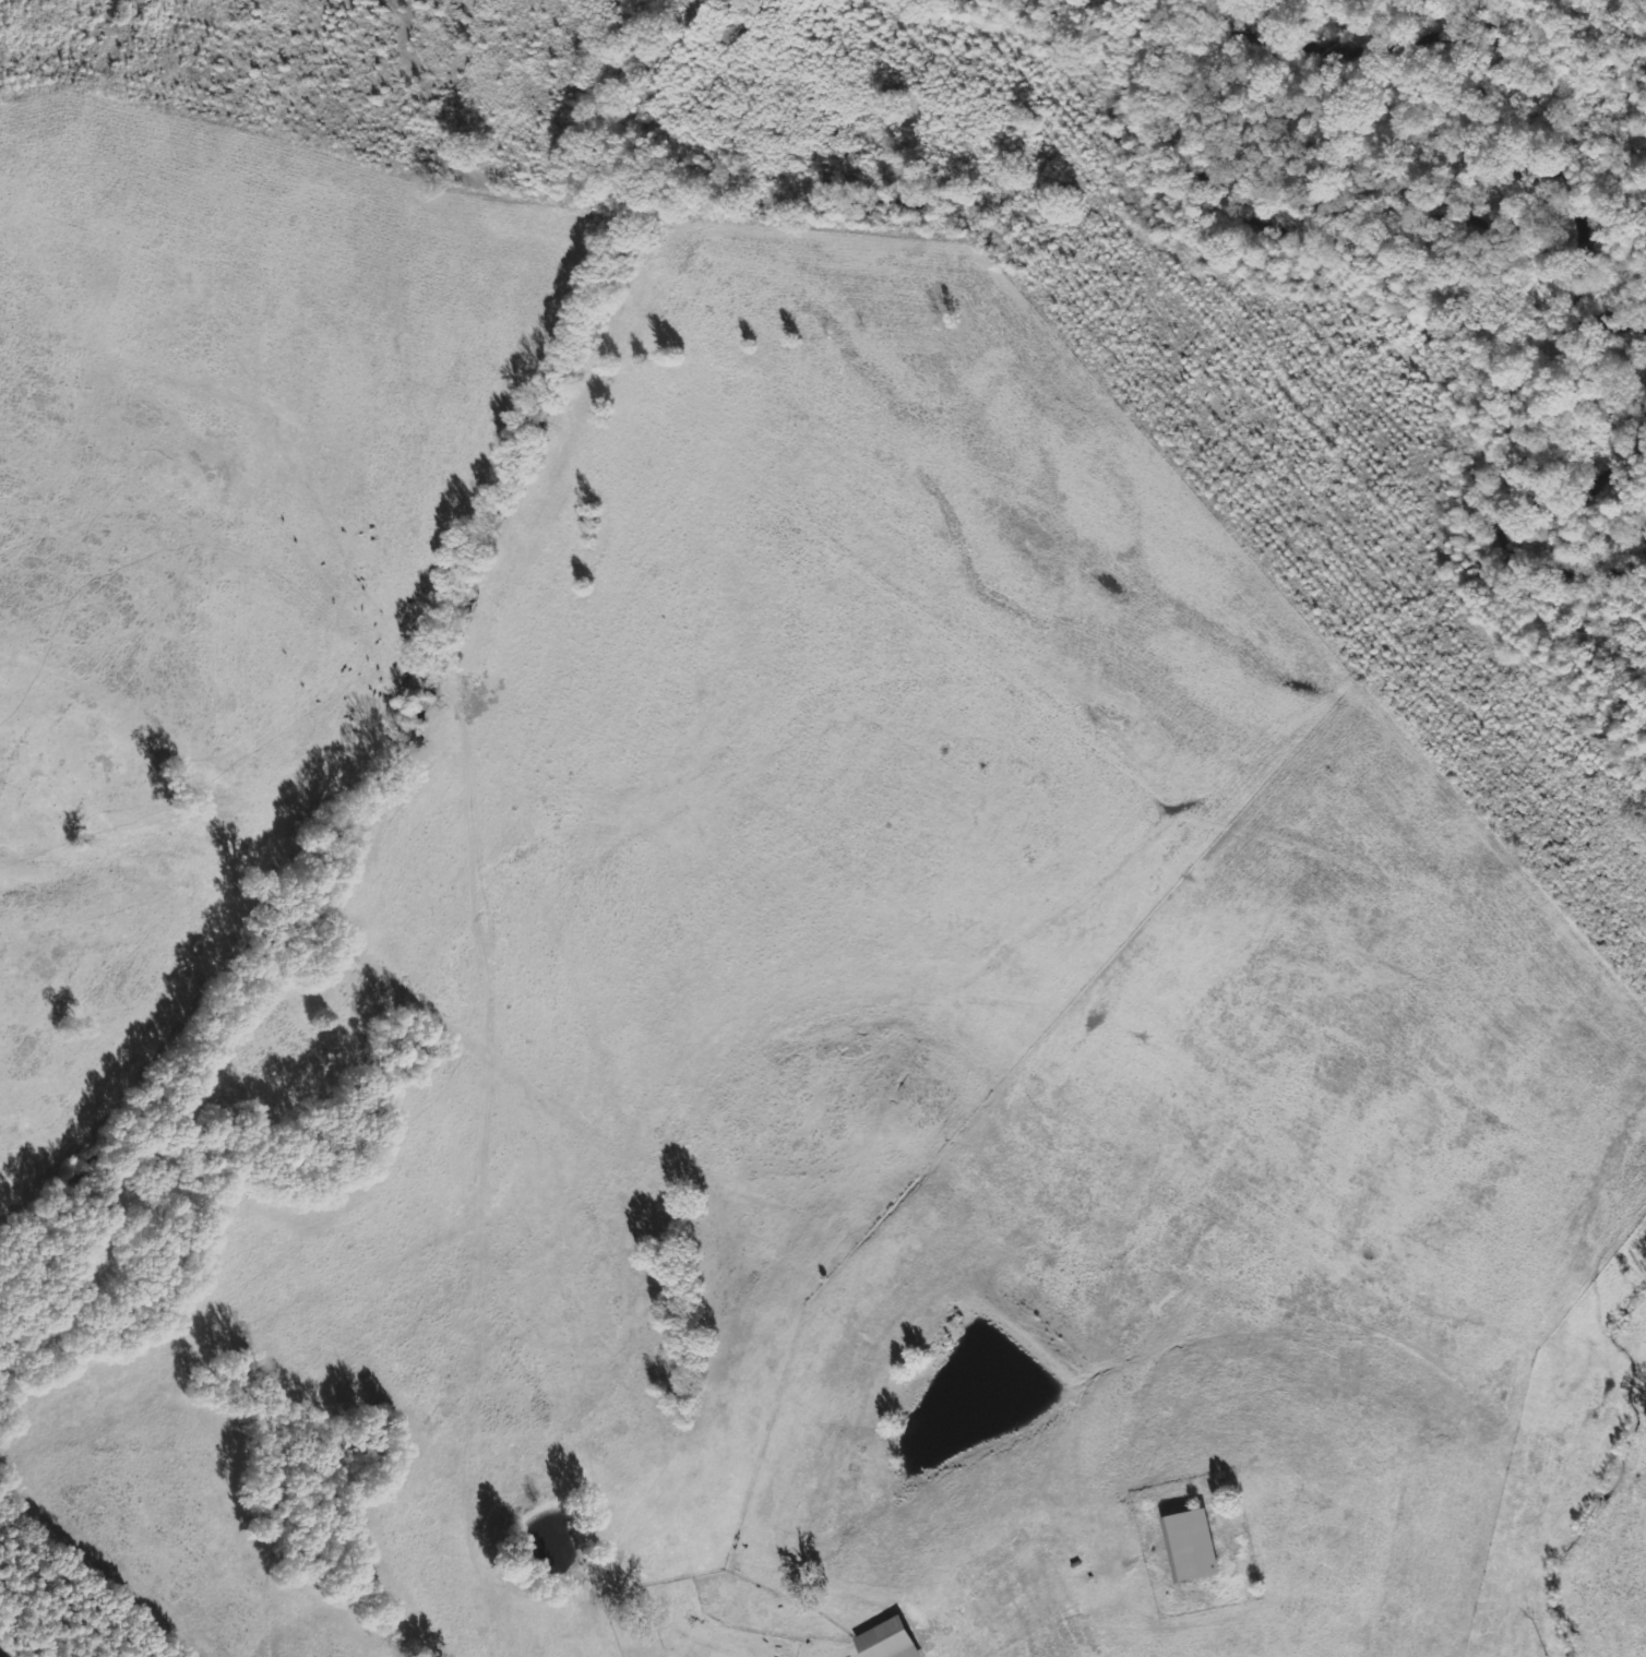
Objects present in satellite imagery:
building: (886, 1641)

